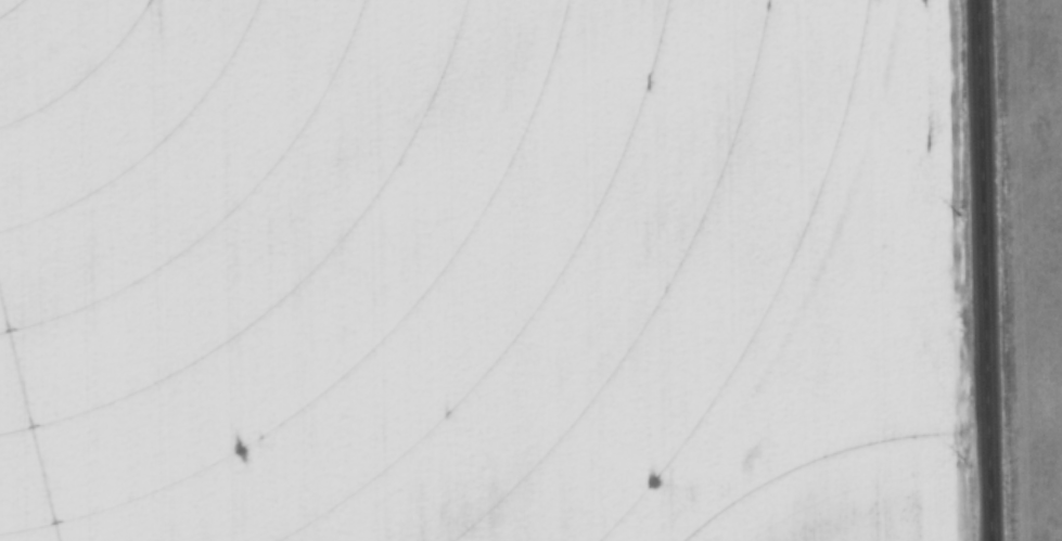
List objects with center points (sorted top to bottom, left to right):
road: (981, 270)

